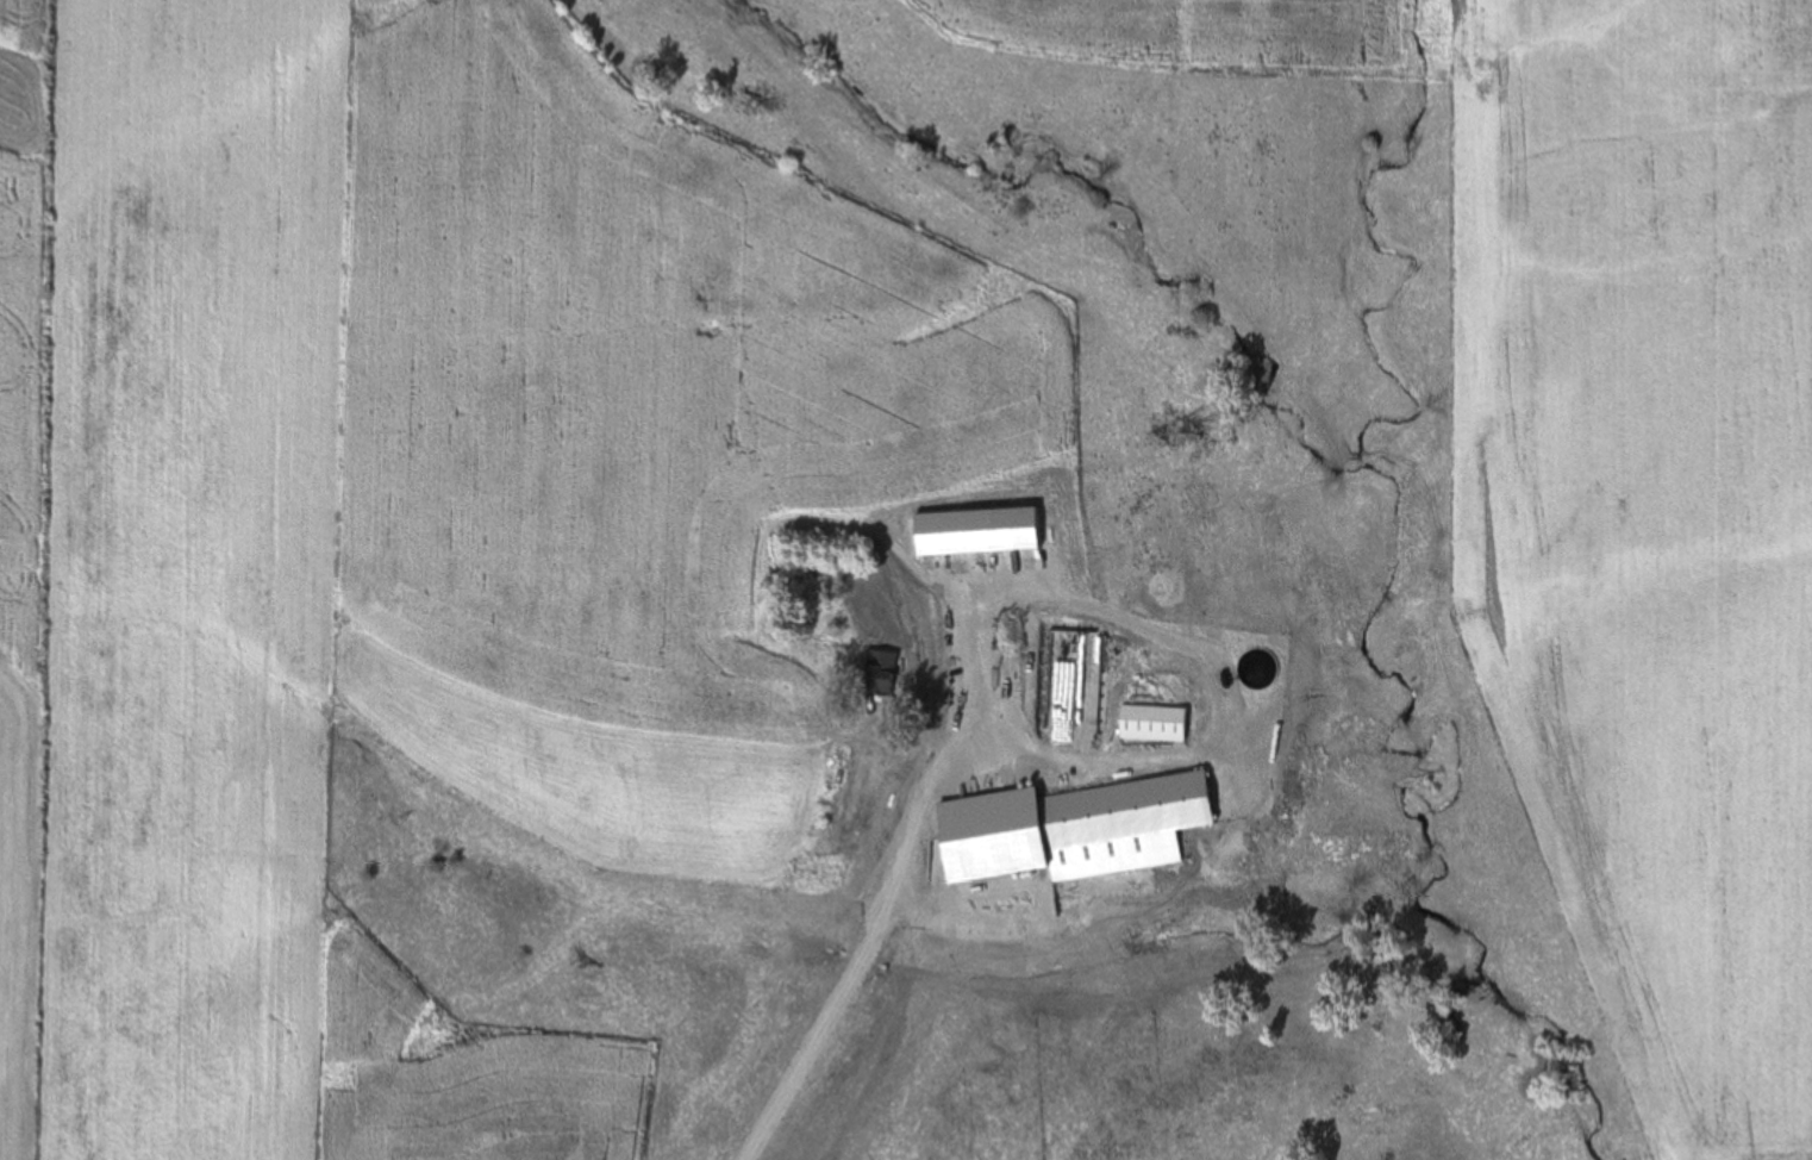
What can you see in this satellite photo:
building: (1007, 612)
building: (948, 662)
building: (877, 672)
building: (1154, 723)
building: (962, 737)
building: (1004, 751)
building: (1087, 828)
road: (910, 918)

